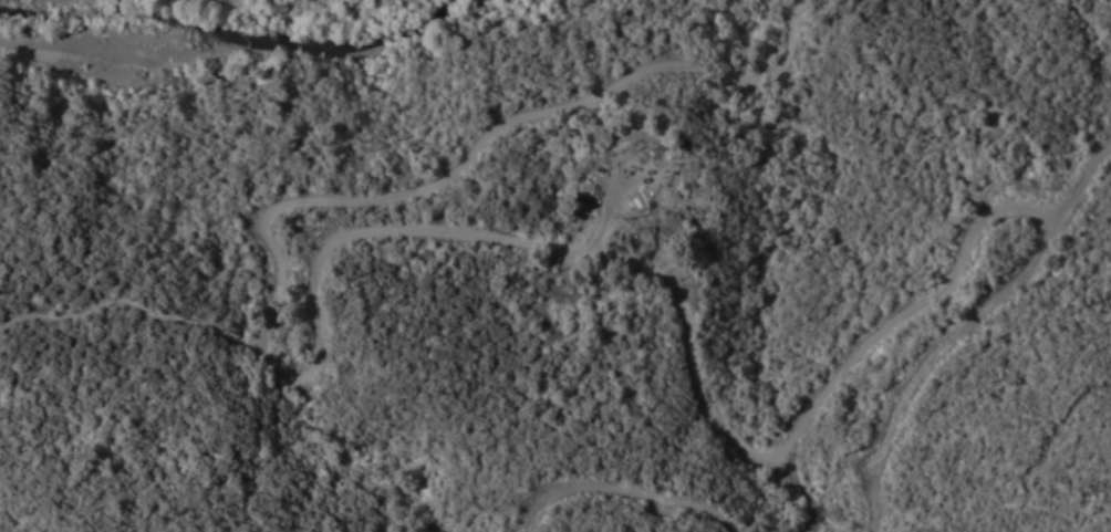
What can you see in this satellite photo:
river: (216, 22)
road: (1078, 182)
road: (399, 192)
road: (132, 309)
road: (842, 367)
road: (627, 488)

